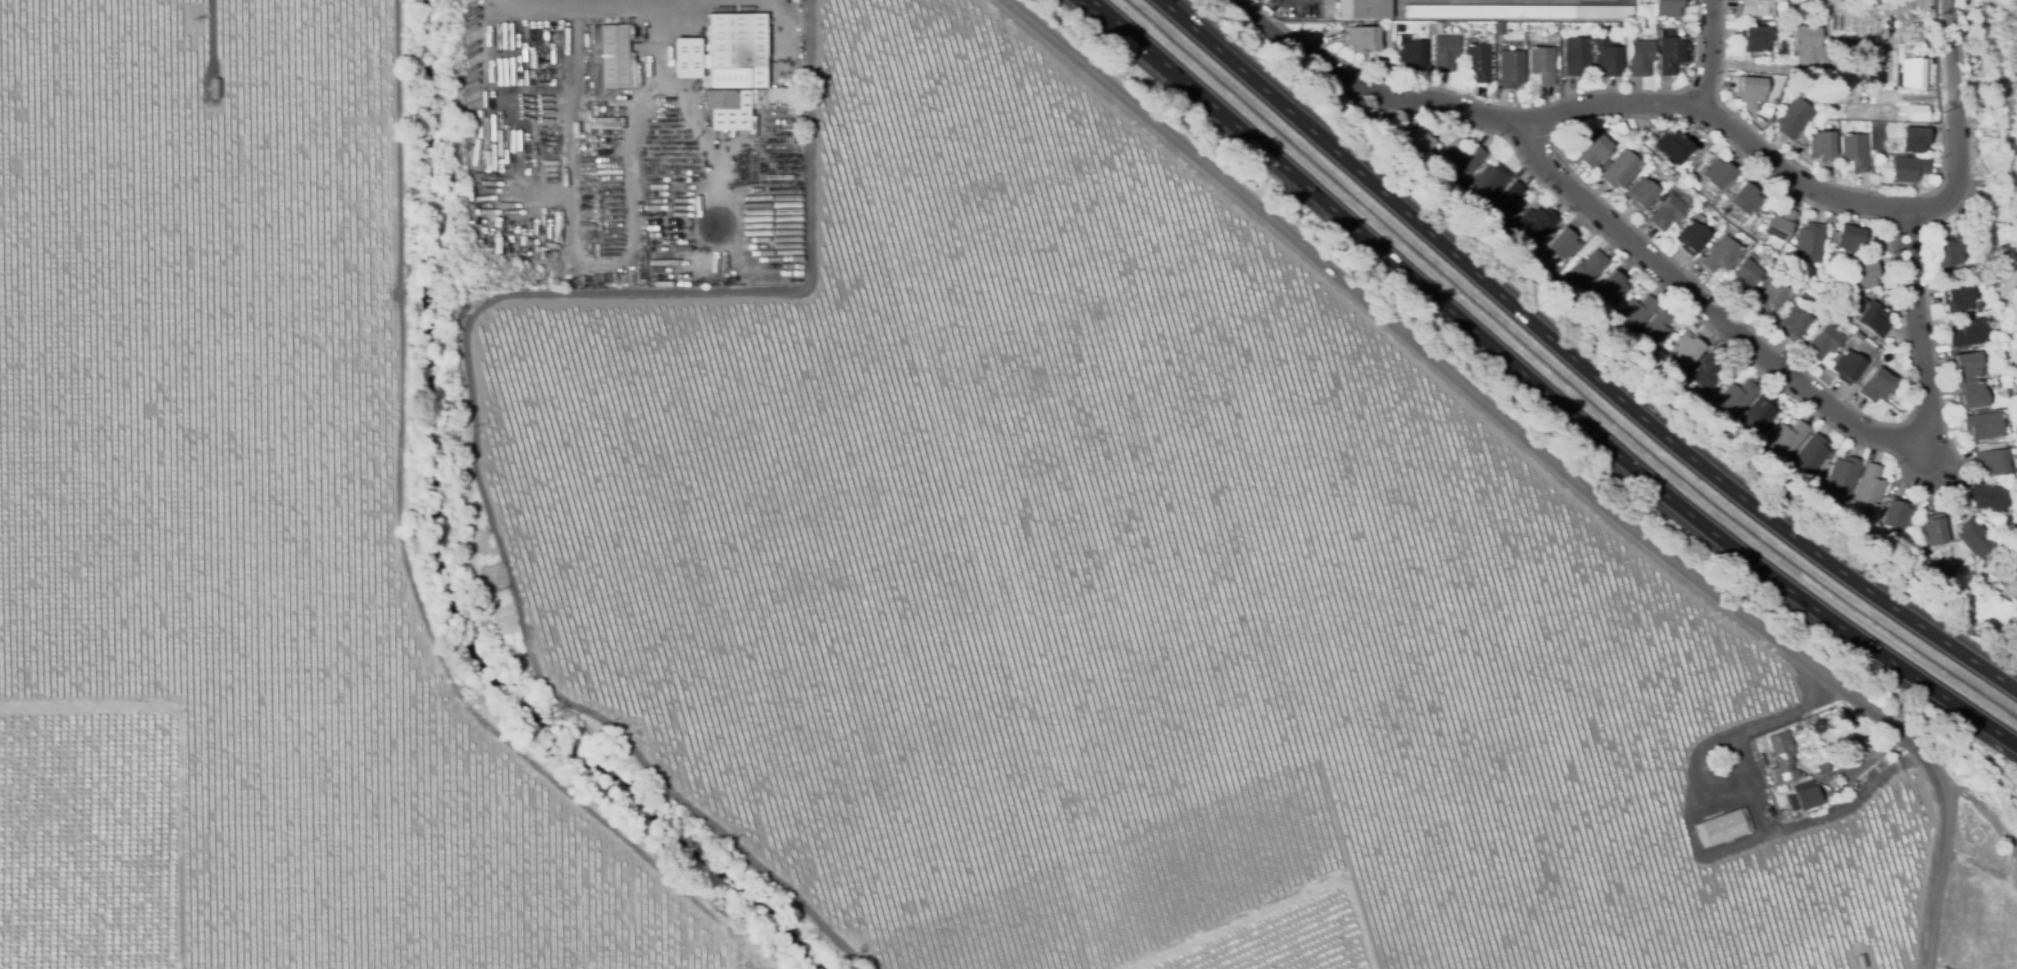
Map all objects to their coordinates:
road: (1471, 2)
road: (566, 3)
road: (1098, 5)
building: (1666, 8)
building: (1755, 8)
building: (1361, 9)
building: (1517, 11)
building: (1641, 17)
building: (1842, 23)
building: (1621, 25)
building: (1873, 26)
building: (1432, 28)
building: (1499, 30)
building: (1368, 37)
building: (1754, 38)
building: (736, 41)
building: (1806, 42)
building: (1670, 52)
building: (1444, 53)
building: (1411, 54)
road: (1706, 54)
building: (610, 55)
building: (1576, 56)
building: (1640, 57)
building: (686, 58)
building: (1606, 58)
building: (1477, 62)
building: (1542, 64)
building: (1843, 68)
building: (1876, 68)
building: (1511, 69)
building: (1914, 72)
building: (1557, 75)
building: (760, 80)
building: (722, 83)
building: (215, 88)
building: (1749, 89)
building: (1838, 97)
road: (1571, 108)
building: (1879, 108)
building: (727, 109)
building: (1926, 109)
building: (1793, 118)
road: (1958, 124)
building: (1915, 139)
building: (1419, 145)
building: (1821, 146)
building: (1674, 148)
building: (1592, 149)
building: (791, 151)
building: (1854, 151)
road: (629, 155)
building: (1464, 162)
road: (711, 166)
building: (1907, 168)
building: (1619, 169)
building: (1718, 172)
building: (1489, 182)
building: (1640, 193)
building: (1745, 198)
building: (1509, 202)
building: (1668, 213)
building: (1536, 225)
building: (1778, 225)
building: (1691, 237)
building: (1848, 240)
building: (1564, 243)
building: (1808, 243)
building: (1740, 244)
building: (1947, 251)
building: (1721, 255)
building: (1831, 259)
building: (1557, 266)
building: (1587, 270)
building: (1864, 275)
building: (1744, 278)
building: (1763, 279)
building: (1759, 284)
building: (1614, 286)
building: (1774, 296)
building: (1957, 298)
road: (1705, 308)
building: (1636, 313)
building: (1873, 319)
building: (1792, 323)
road: (1923, 327)
building: (1657, 330)
building: (1969, 333)
building: (1858, 335)
building: (1805, 339)
building: (1823, 342)
building: (1689, 350)
road: (1578, 359)
building: (1966, 365)
building: (1846, 366)
building: (1709, 370)
building: (1678, 376)
building: (1877, 386)
road: (1542, 389)
road: (1469, 393)
building: (1970, 395)
building: (1737, 398)
road: (471, 400)
building: (1760, 414)
building: (1983, 426)
building: (1789, 439)
building: (1812, 455)
building: (1993, 460)
building: (1843, 478)
building: (1871, 485)
building: (1990, 497)
building: (1899, 514)
building: (1933, 531)
building: (1870, 532)
building: (1918, 534)
building: (1976, 538)
road: (87, 705)
building: (1837, 718)
building: (1864, 744)
building: (1758, 748)
building: (1783, 757)
building: (1761, 760)
building: (1808, 797)
road: (1755, 816)
building: (1722, 827)
road: (1942, 876)
building: (1860, 961)

